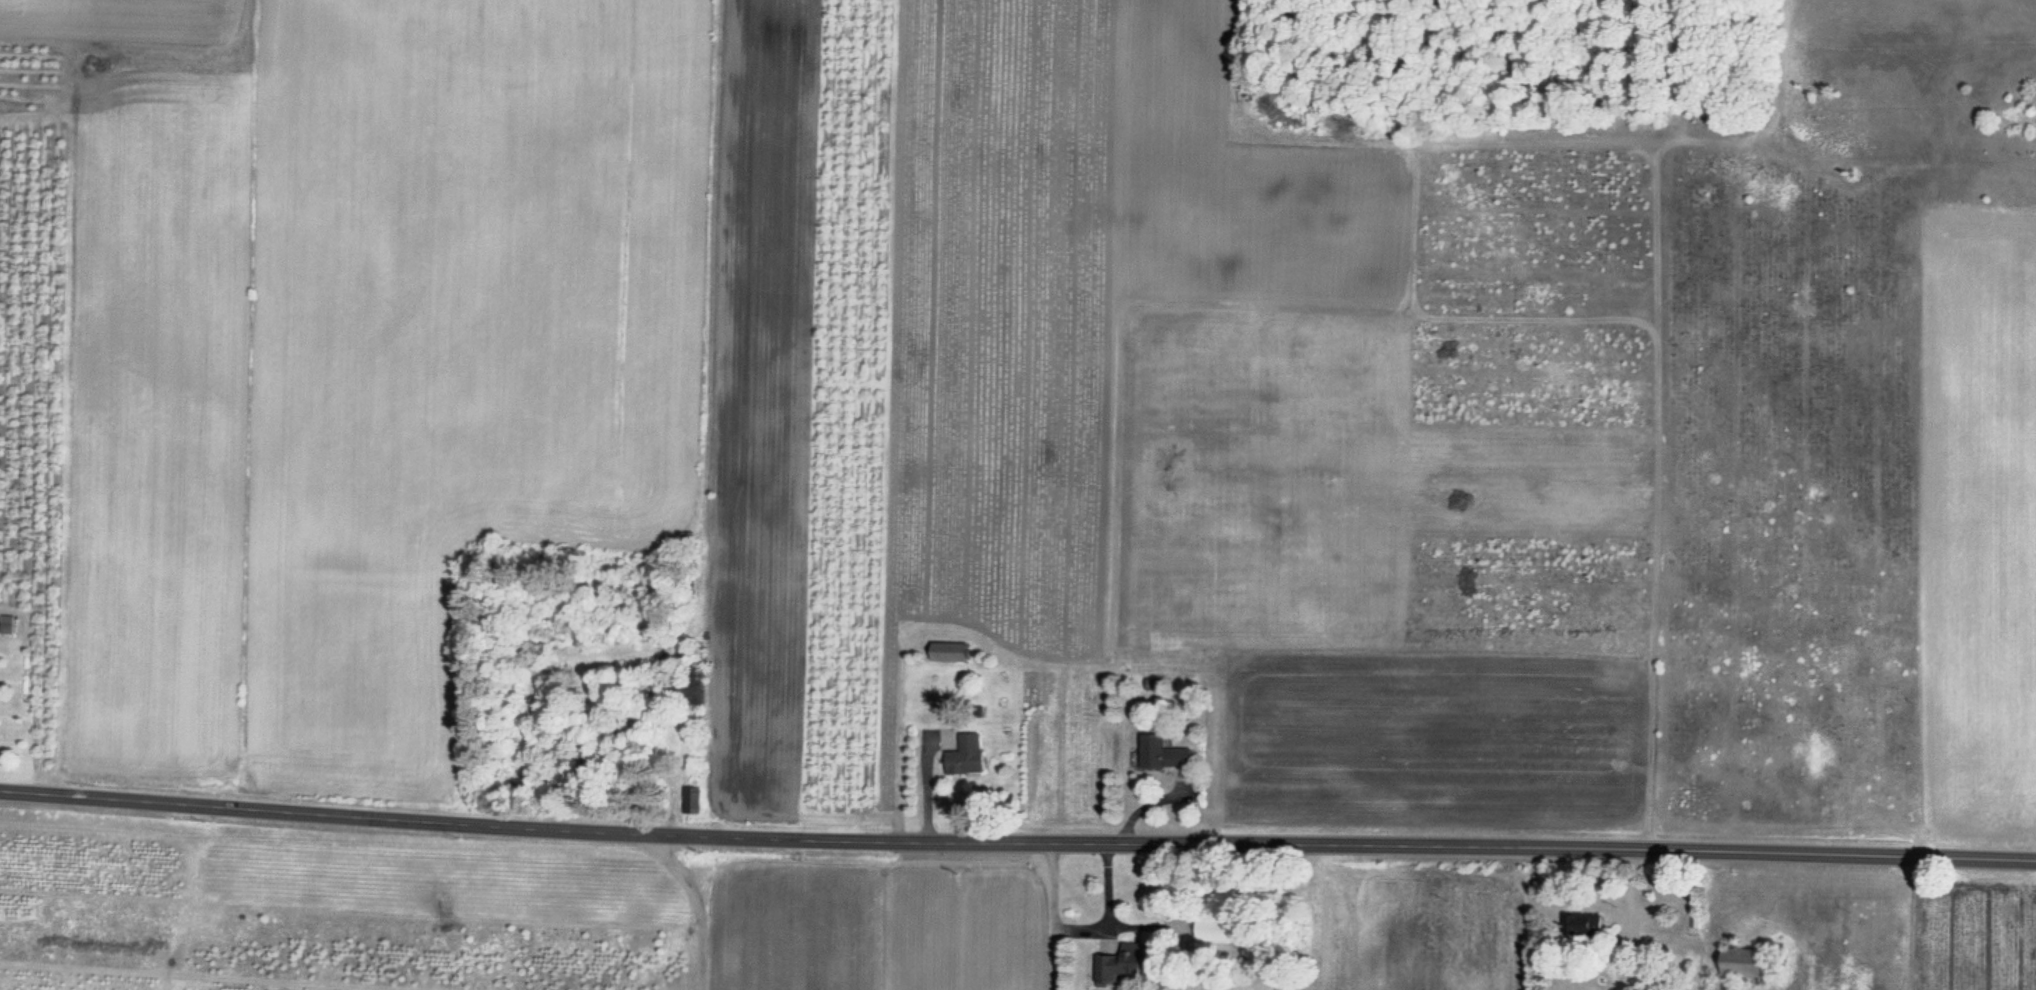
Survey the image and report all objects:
building: (7, 625)
building: (942, 651)
building: (1161, 754)
building: (965, 756)
road: (1017, 841)
building: (1581, 924)
building: (1213, 930)
building: (1740, 962)
building: (1122, 966)

